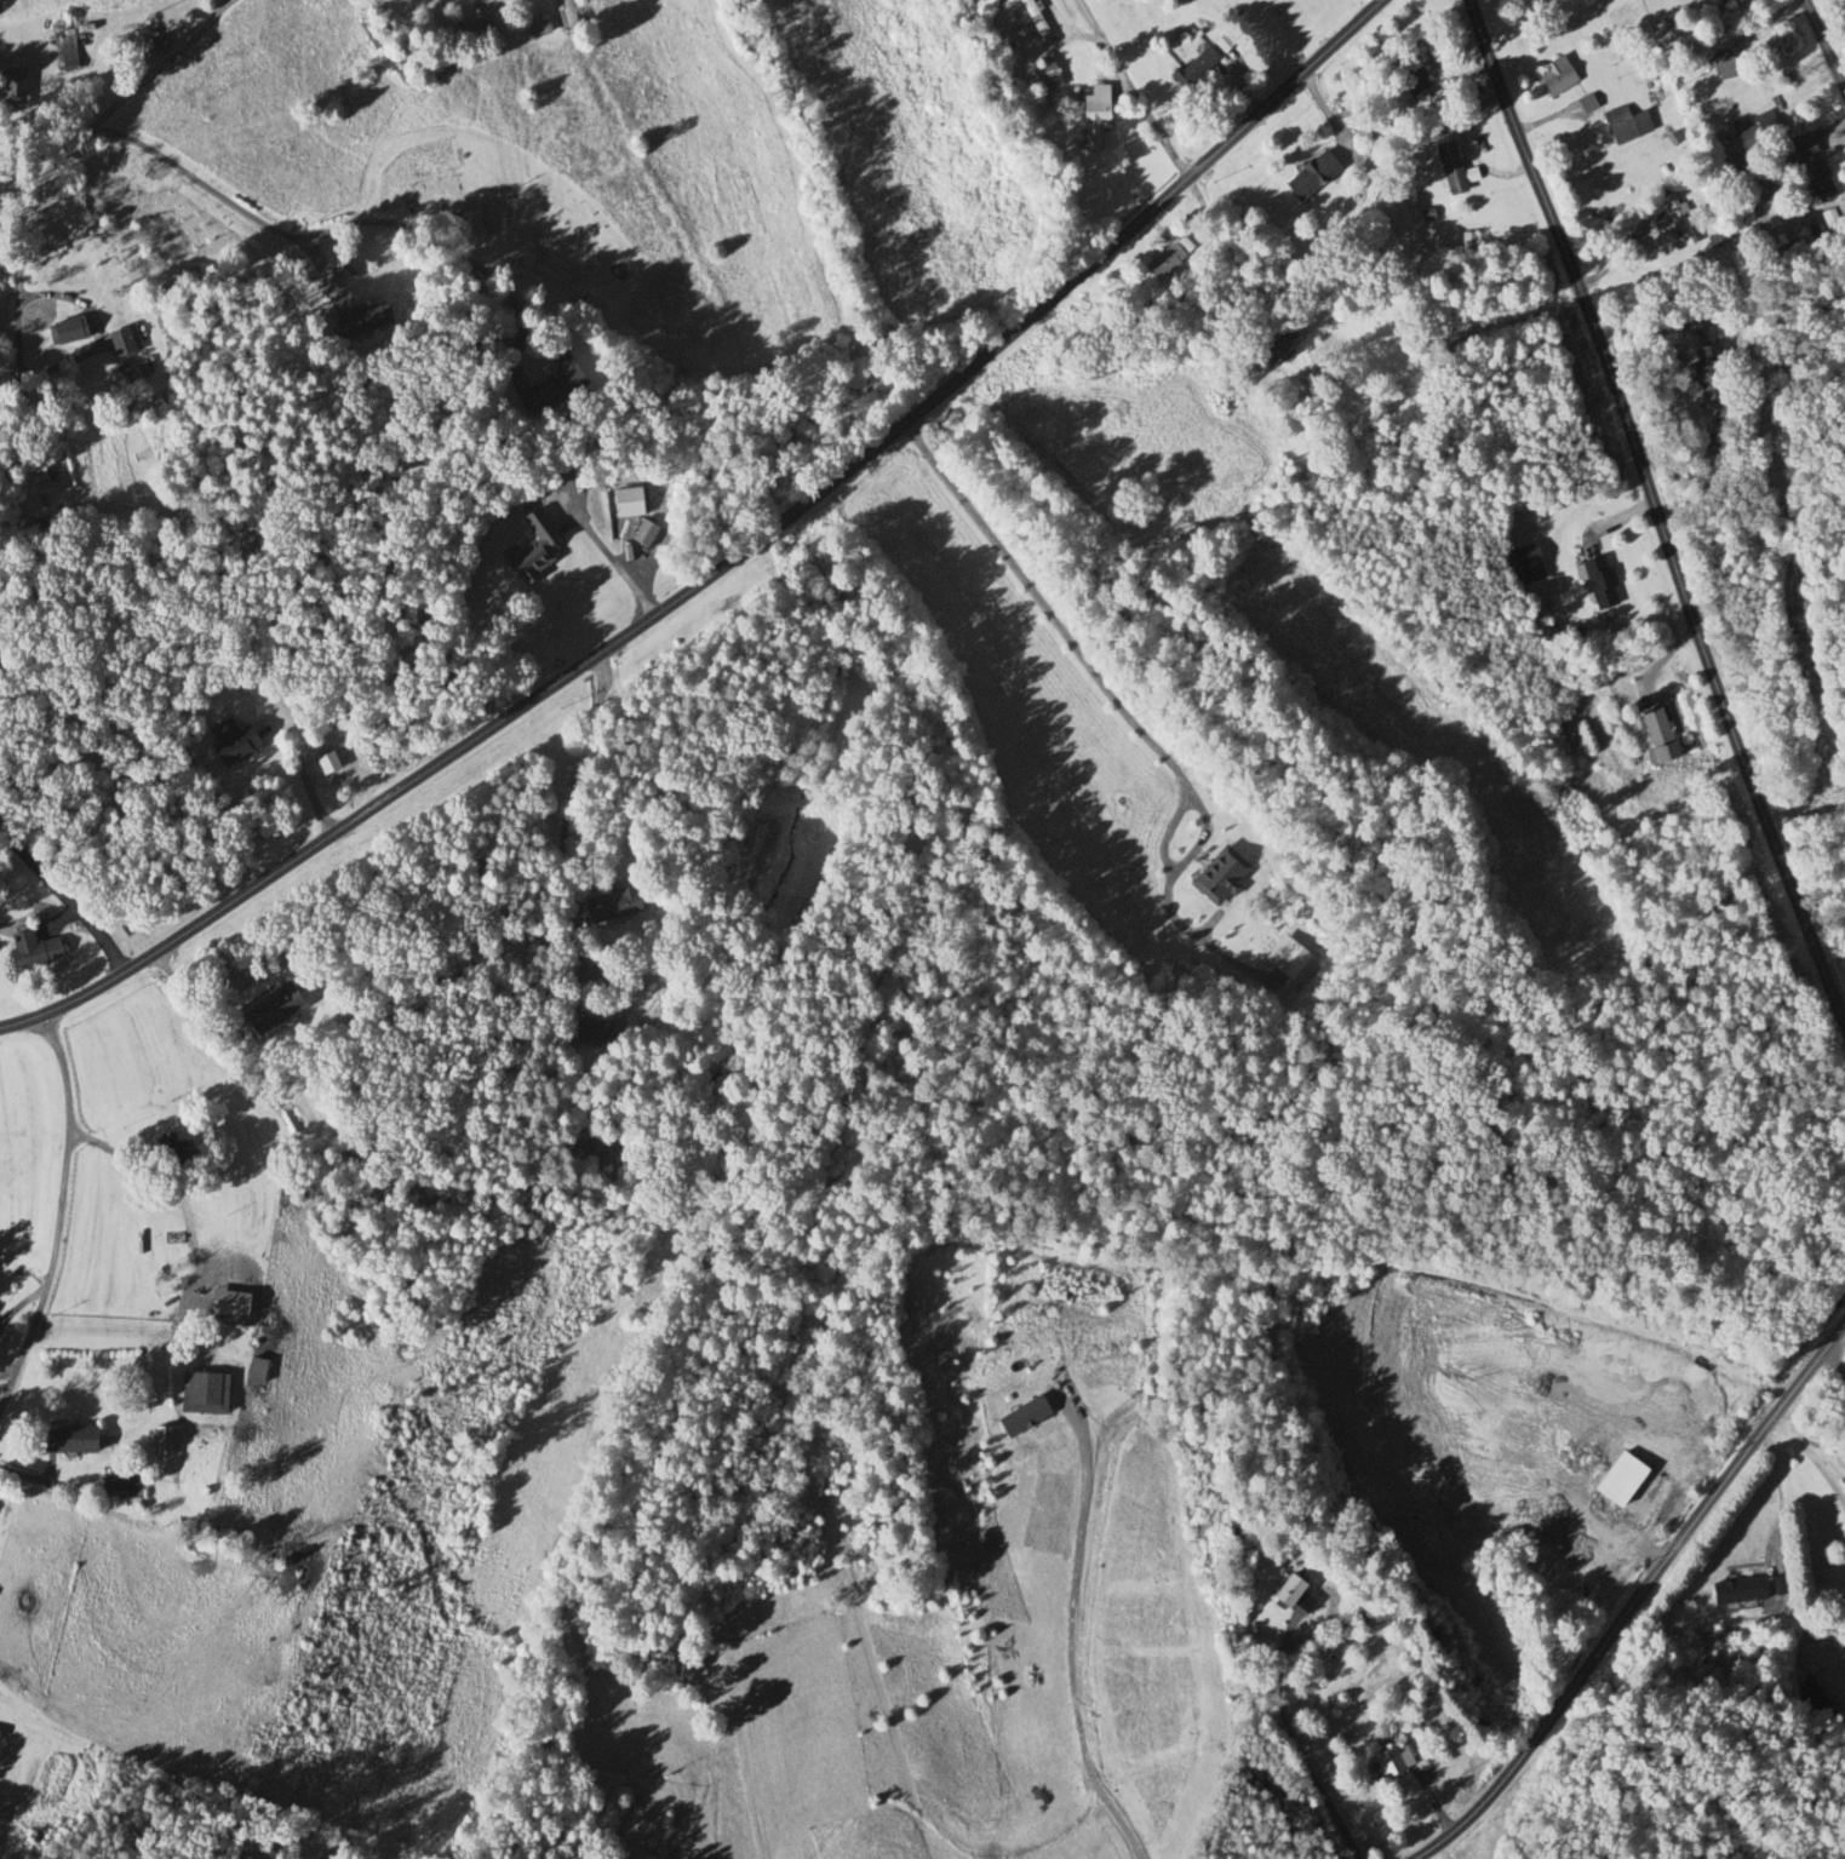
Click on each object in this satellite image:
building: (1719, 0)
building: (565, 16)
building: (1031, 17)
building: (460, 27)
building: (537, 29)
road: (1824, 42)
building: (154, 45)
building: (1044, 47)
building: (63, 52)
building: (1723, 65)
building: (1192, 69)
building: (1411, 78)
building: (1554, 78)
building: (1042, 82)
building: (11, 87)
road: (1129, 90)
road: (74, 105)
building: (1093, 117)
building: (1625, 126)
building: (1757, 134)
building: (1810, 167)
building: (1451, 171)
building: (1310, 177)
building: (1678, 219)
building: (469, 225)
road: (330, 231)
building: (1163, 262)
building: (359, 319)
building: (63, 331)
building: (121, 340)
building: (1272, 345)
building: (1706, 374)
building: (550, 389)
road: (11, 402)
building: (1334, 440)
building: (34, 474)
road: (1652, 512)
building: (640, 533)
building: (529, 546)
building: (1526, 557)
road: (724, 560)
building: (1598, 583)
building: (1531, 590)
road: (1098, 678)
building: (1656, 736)
building: (230, 745)
road: (572, 780)
road: (61, 903)
building: (608, 905)
building: (29, 951)
building: (269, 1009)
building: (591, 1029)
building: (580, 1144)
building: (171, 1148)
building: (603, 1161)
road: (56, 1212)
road: (113, 1318)
road: (1830, 1364)
building: (252, 1371)
building: (201, 1394)
building: (64, 1439)
building: (162, 1442)
road: (1810, 1455)
building: (1623, 1485)
building: (1781, 1590)
building: (1736, 1591)
building: (1284, 1593)
road: (1639, 1595)
road: (1065, 1645)
road: (1288, 1740)
building: (1390, 1760)

